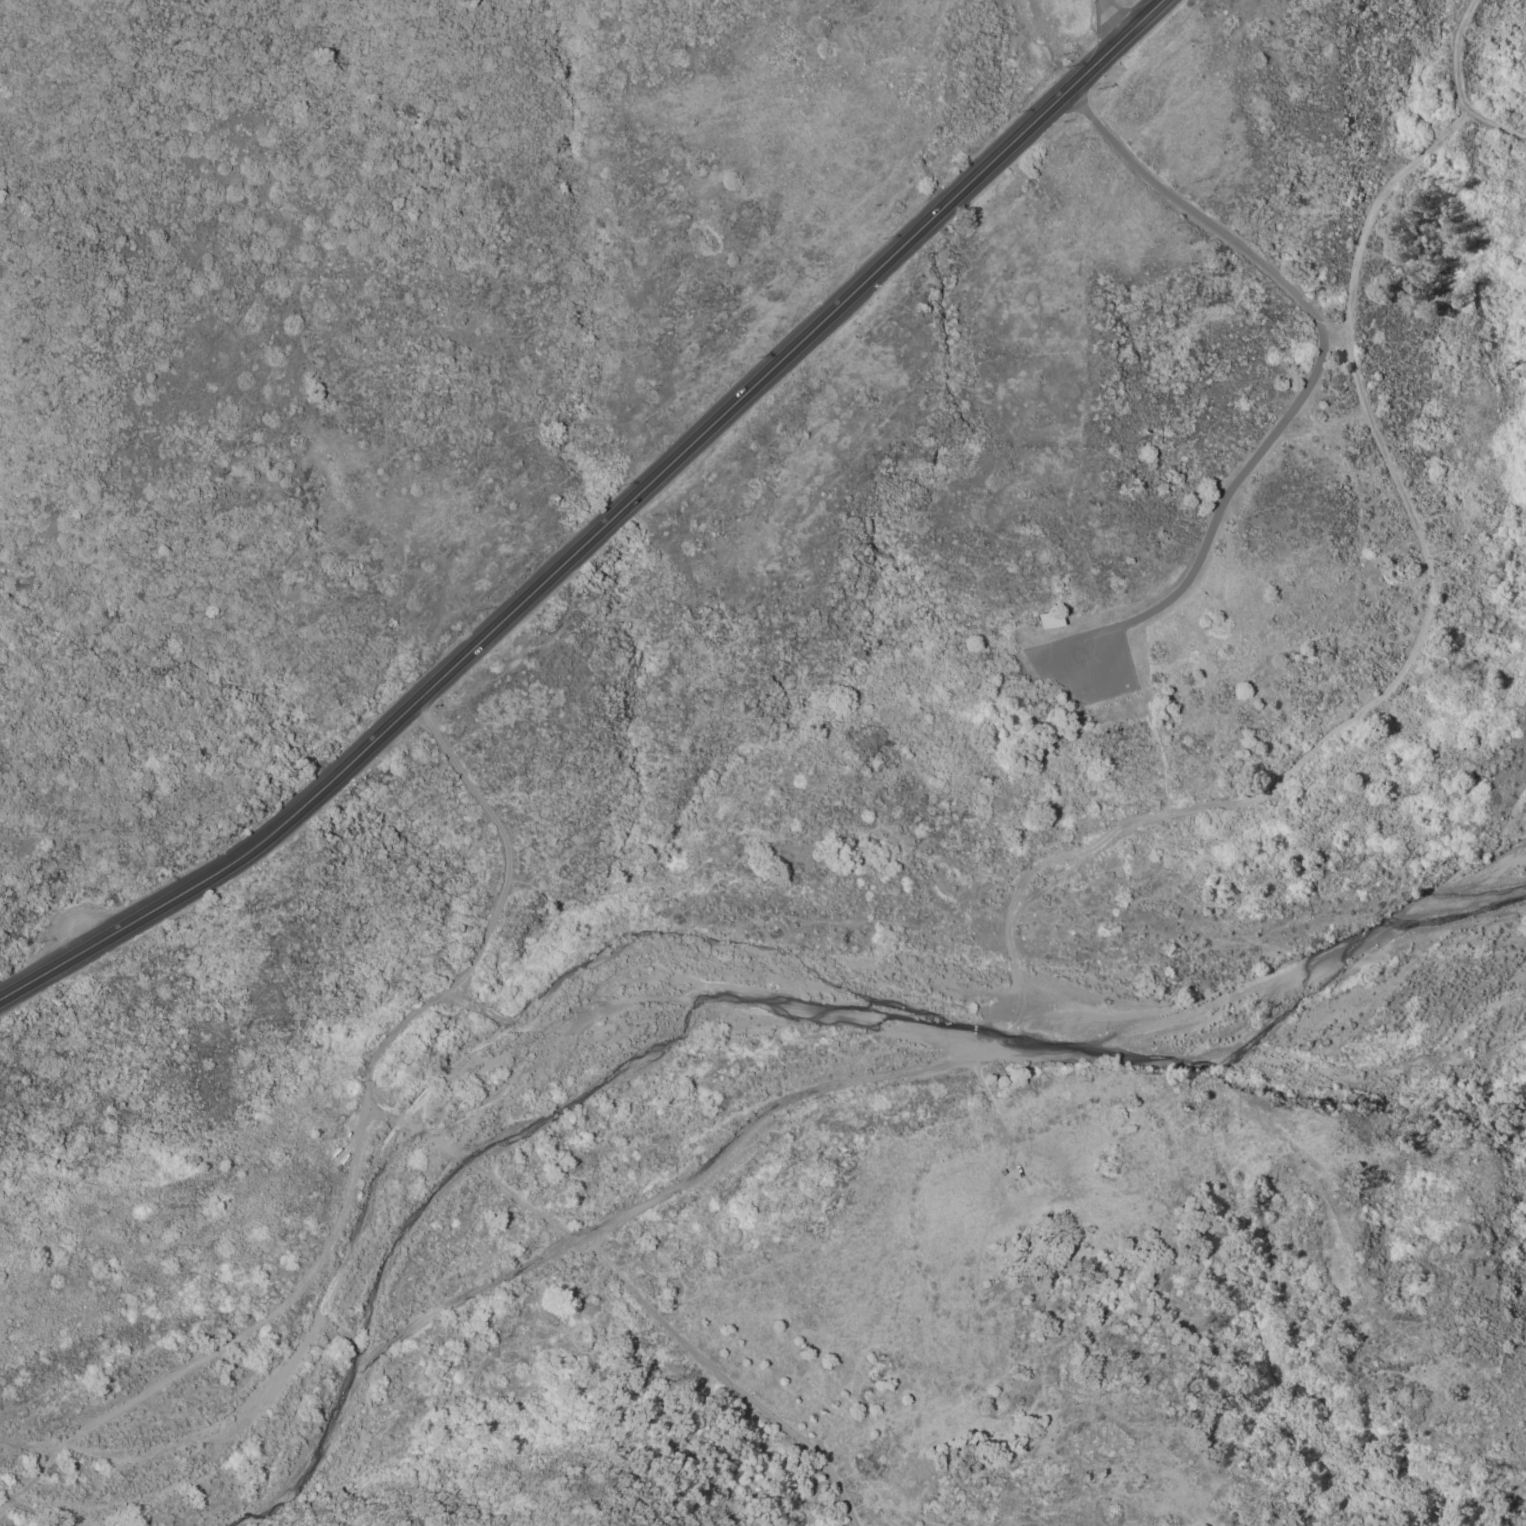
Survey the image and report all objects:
road: (1108, 20)
road: (1409, 165)
road: (722, 417)
road: (1192, 574)
road: (1280, 780)
road: (216, 865)
road: (78, 949)
road: (362, 1135)
road: (671, 1324)
road: (379, 1350)
road: (825, 1454)

